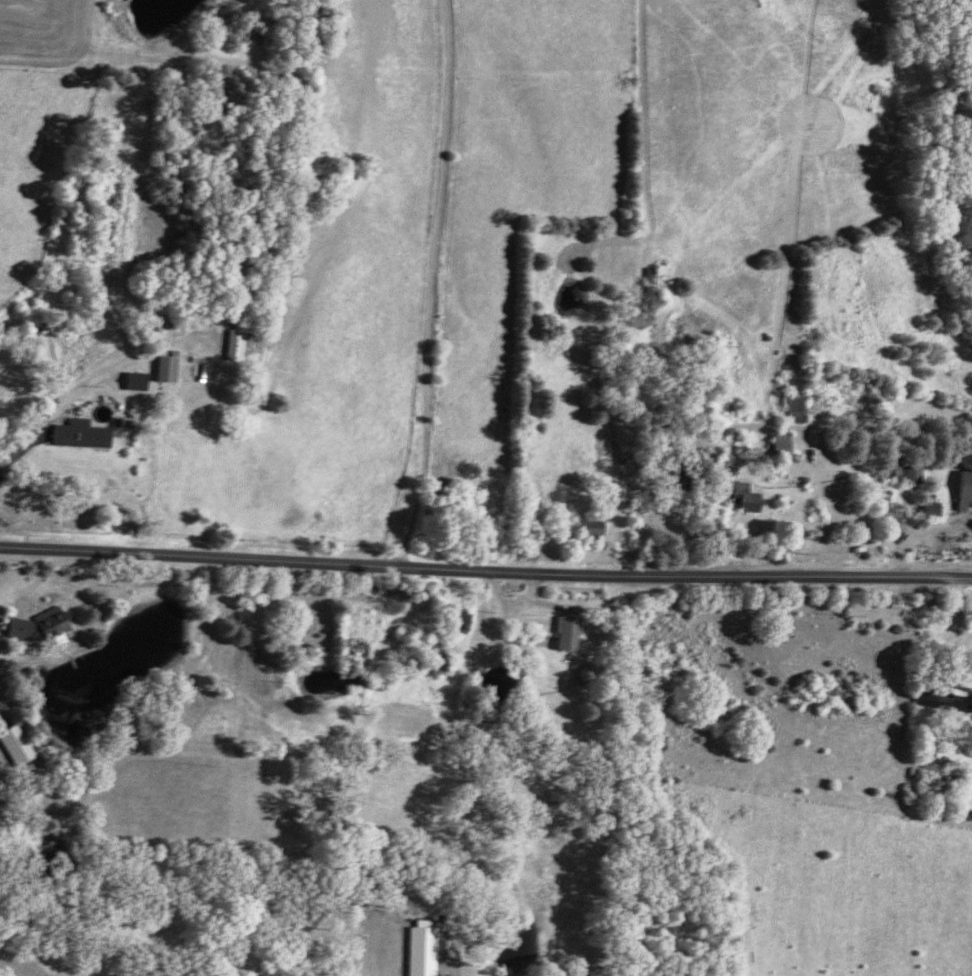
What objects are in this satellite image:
road: (673, 286)
building: (653, 288)
building: (237, 344)
building: (167, 367)
building: (136, 379)
building: (799, 406)
building: (81, 433)
building: (784, 441)
building: (904, 467)
building: (964, 489)
building: (748, 496)
building: (932, 508)
building: (594, 527)
road: (485, 565)
building: (460, 617)
building: (41, 625)
building: (569, 632)
building: (954, 698)
building: (19, 744)
building: (423, 947)

